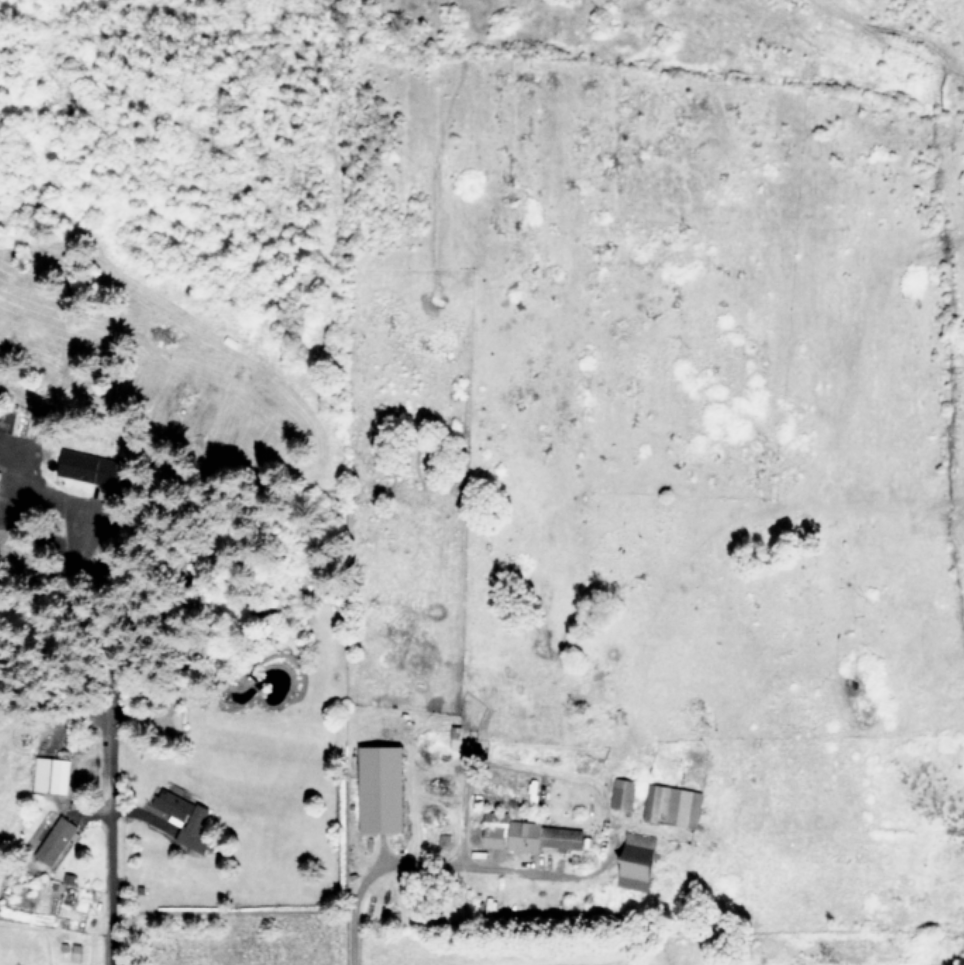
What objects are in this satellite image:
building: (91, 466)
building: (0, 472)
building: (457, 737)
building: (50, 774)
building: (382, 787)
road: (598, 787)
building: (623, 792)
building: (672, 804)
building: (173, 805)
building: (195, 828)
building: (544, 835)
building: (494, 836)
building: (56, 840)
road: (104, 842)
building: (637, 860)
road: (369, 873)

